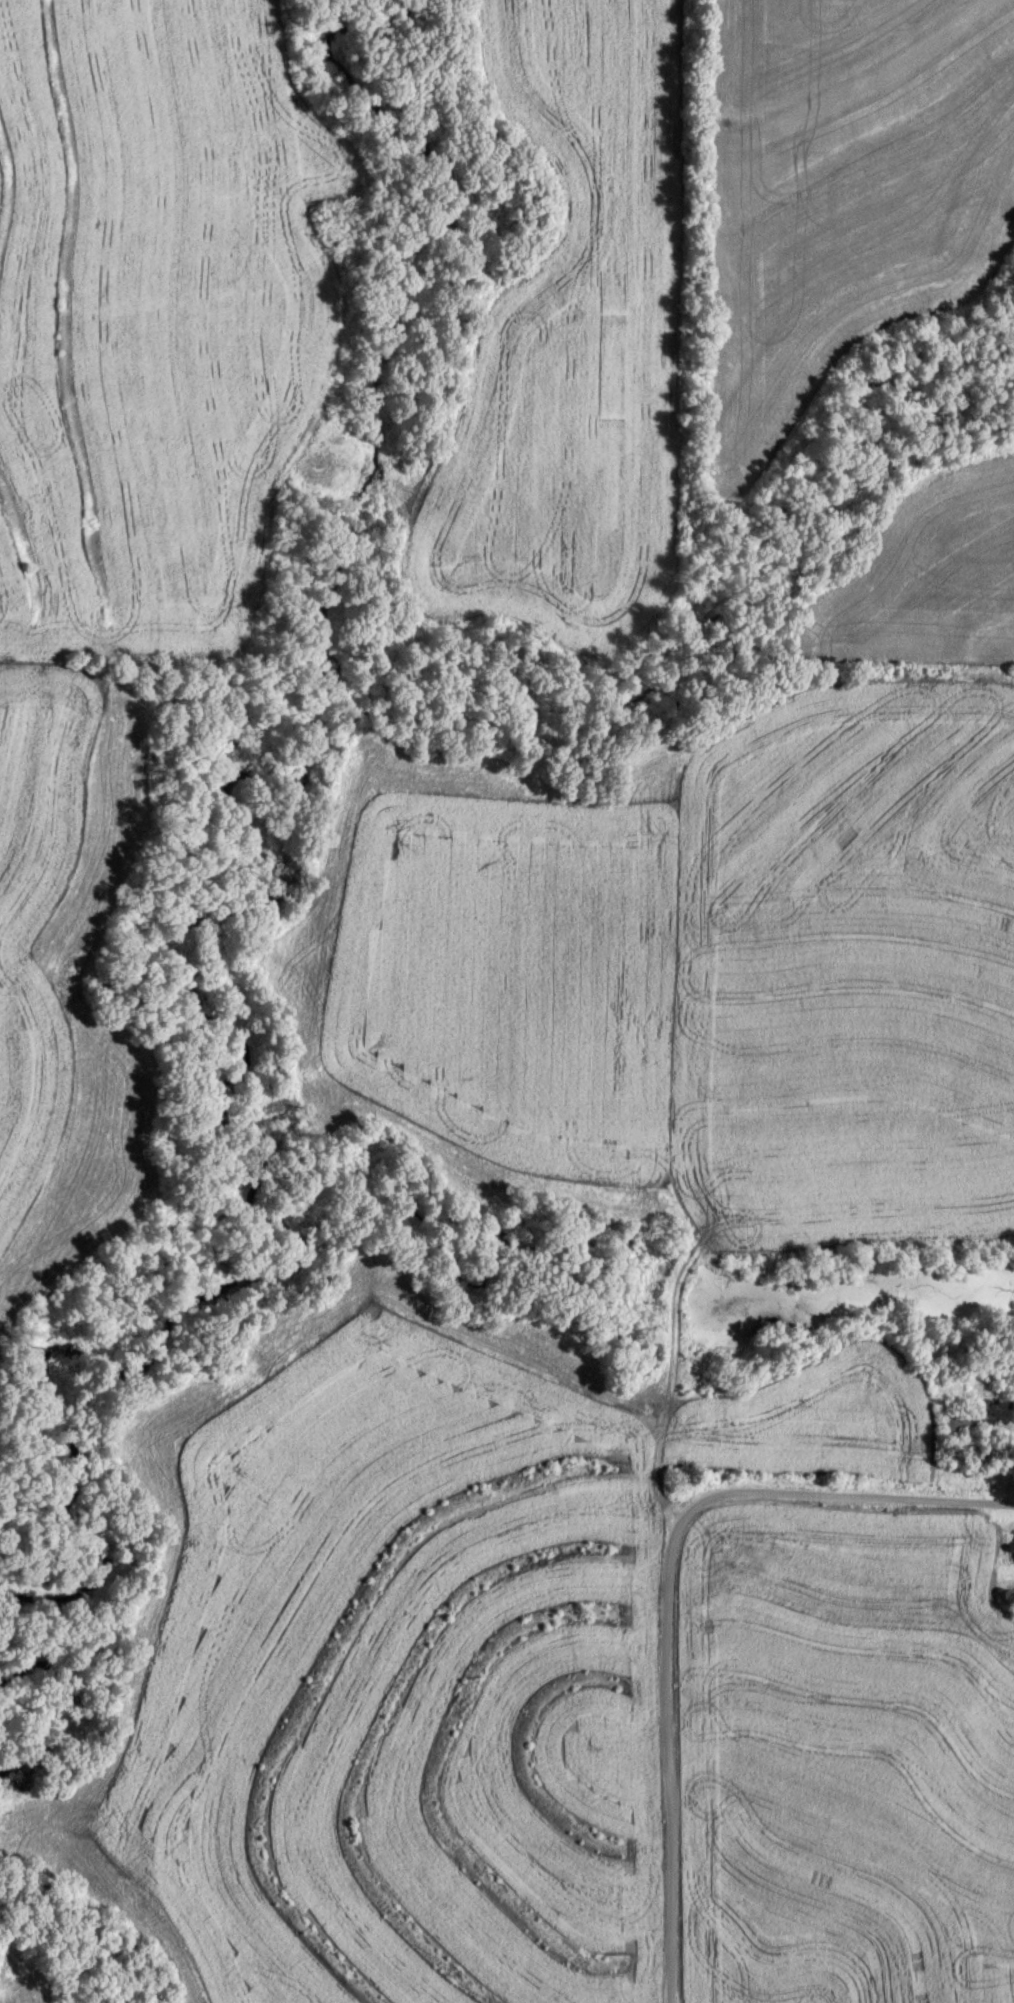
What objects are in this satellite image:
building: (957, 1418)
road: (663, 1584)

